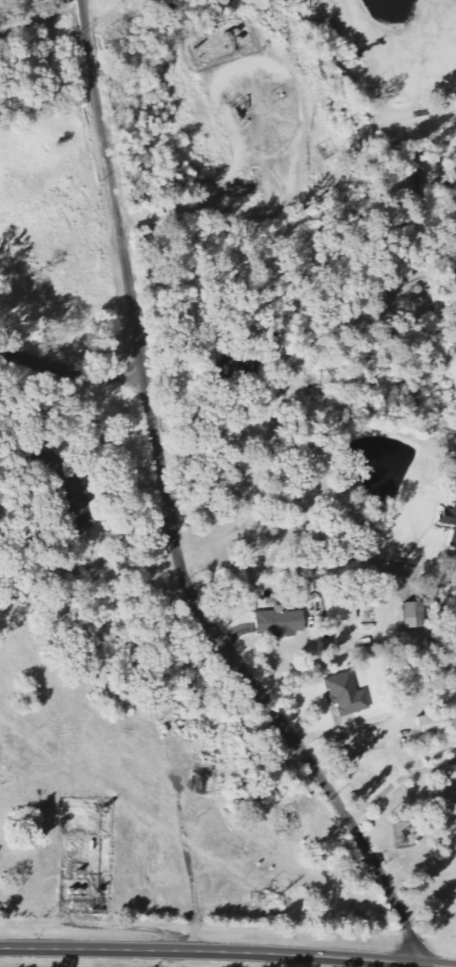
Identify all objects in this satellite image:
building: (277, 345)
road: (70, 370)
building: (63, 472)
road: (169, 513)
building: (449, 521)
building: (86, 523)
building: (341, 612)
building: (417, 615)
building: (281, 623)
building: (348, 695)
building: (433, 725)
road: (218, 952)

